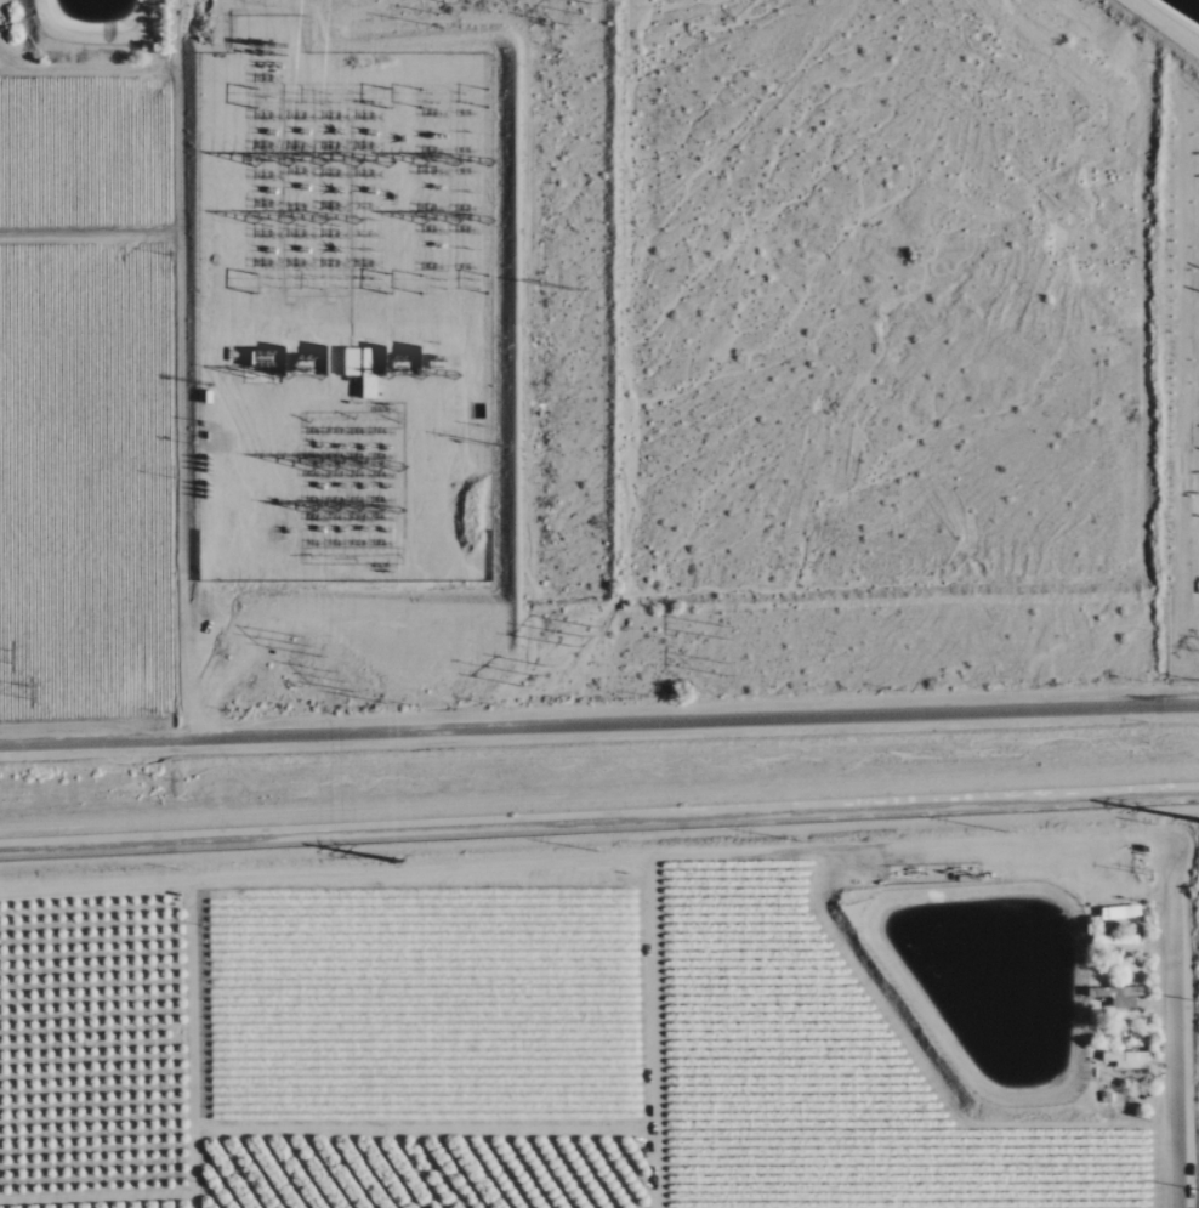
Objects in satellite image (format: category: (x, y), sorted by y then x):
power tower: (445, 11)
power tower: (585, 13)
power tower: (581, 297)
power substation: (345, 317)
building: (351, 362)
building: (369, 374)
road: (244, 452)
power tower: (723, 633)
power tower: (581, 636)
power tower: (302, 651)
power tower: (10, 656)
road: (205, 660)
power tower: (723, 670)
power tower: (538, 673)
power tower: (340, 684)
power tower: (29, 693)
road: (598, 724)
power tower: (392, 860)
road: (1170, 1042)

